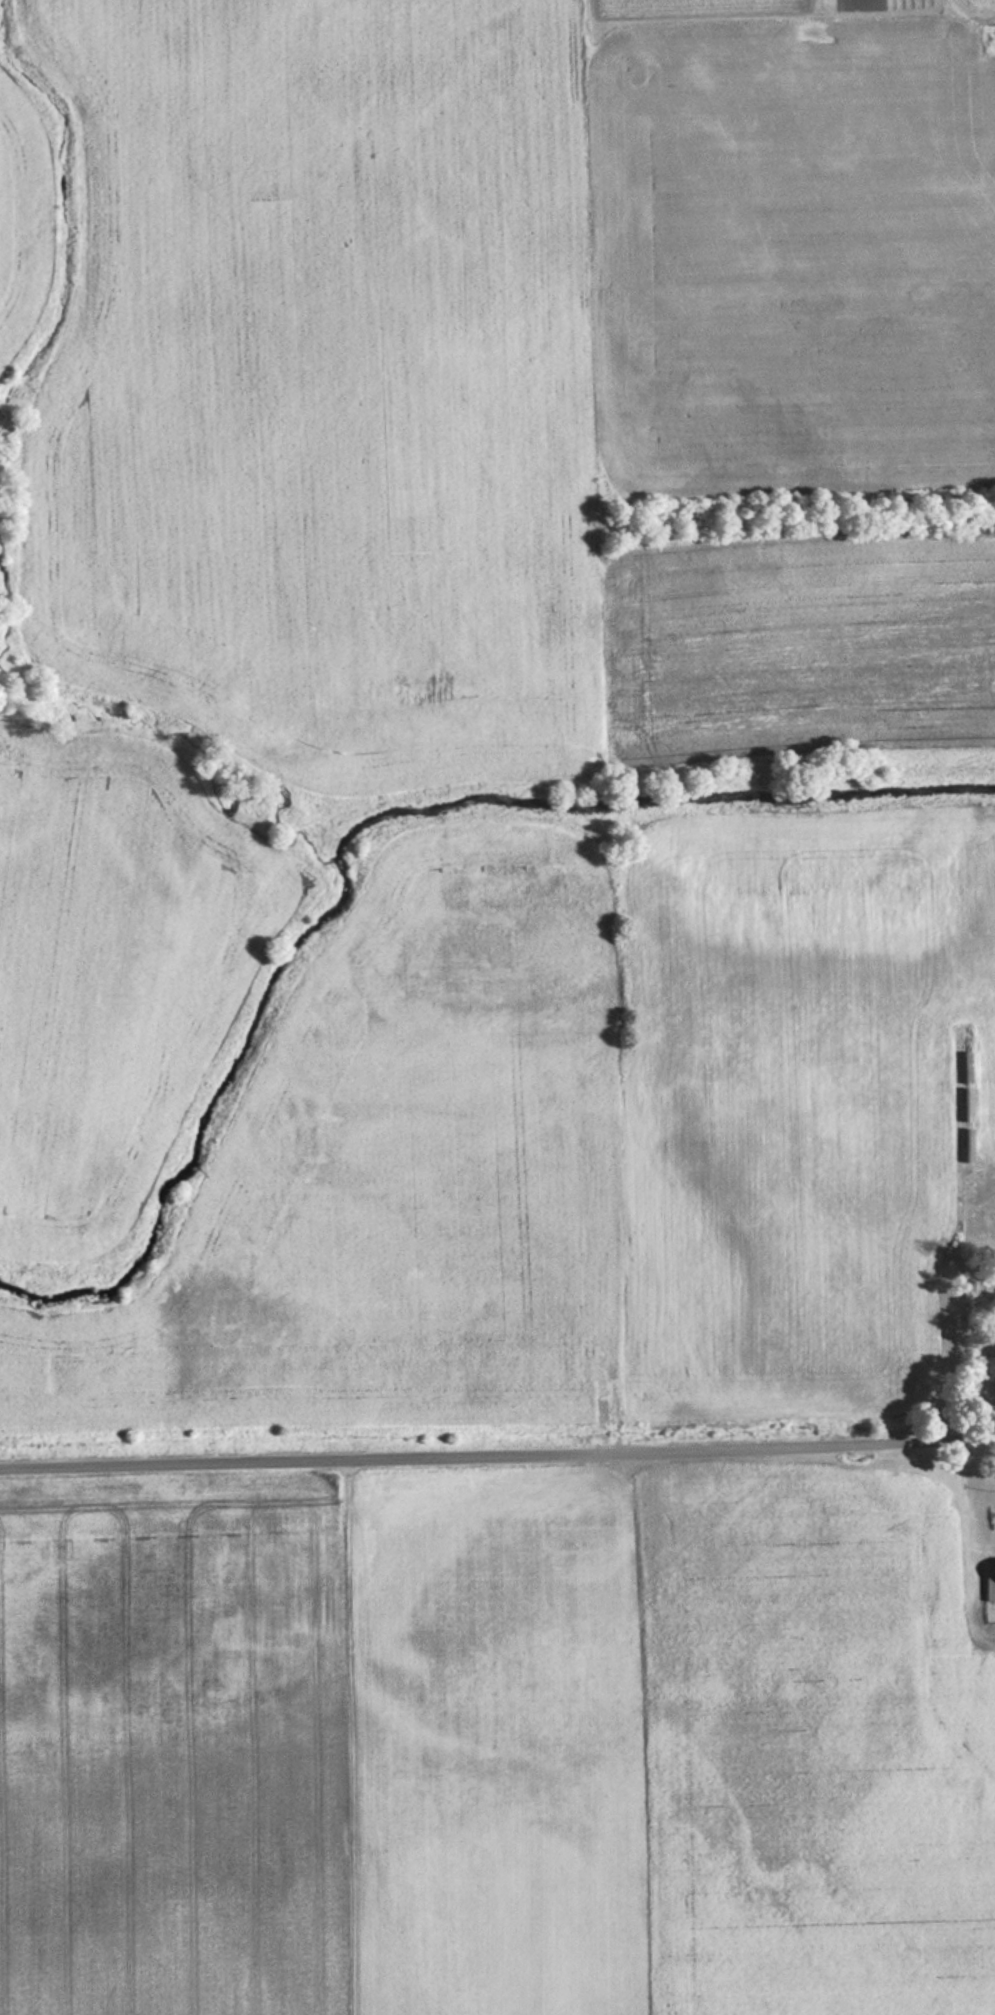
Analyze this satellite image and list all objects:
building: (990, 1353)
road: (497, 1447)
building: (989, 1579)

